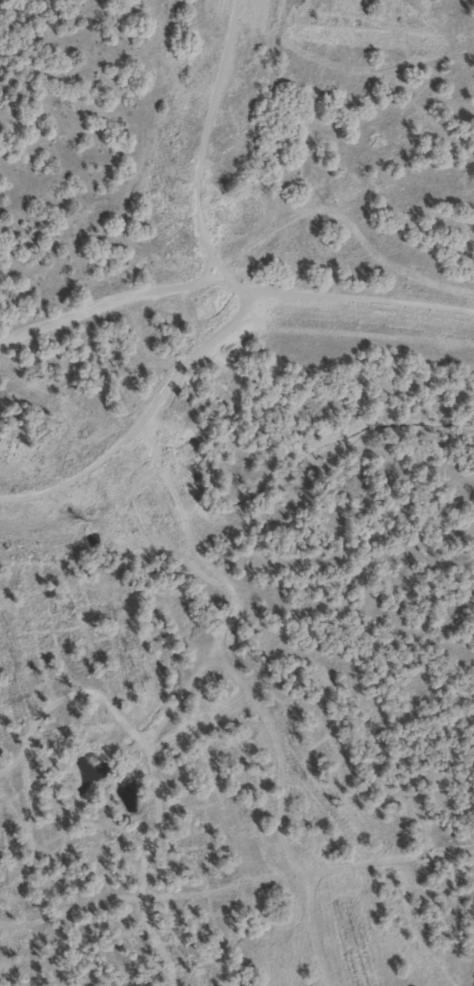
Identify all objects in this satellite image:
road: (250, 242)

